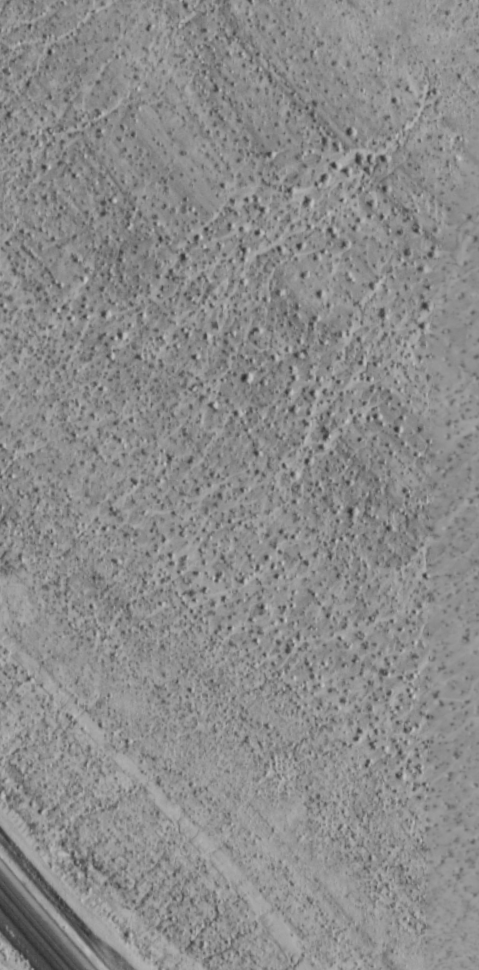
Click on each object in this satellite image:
railway: (35, 928)
railway: (28, 937)

